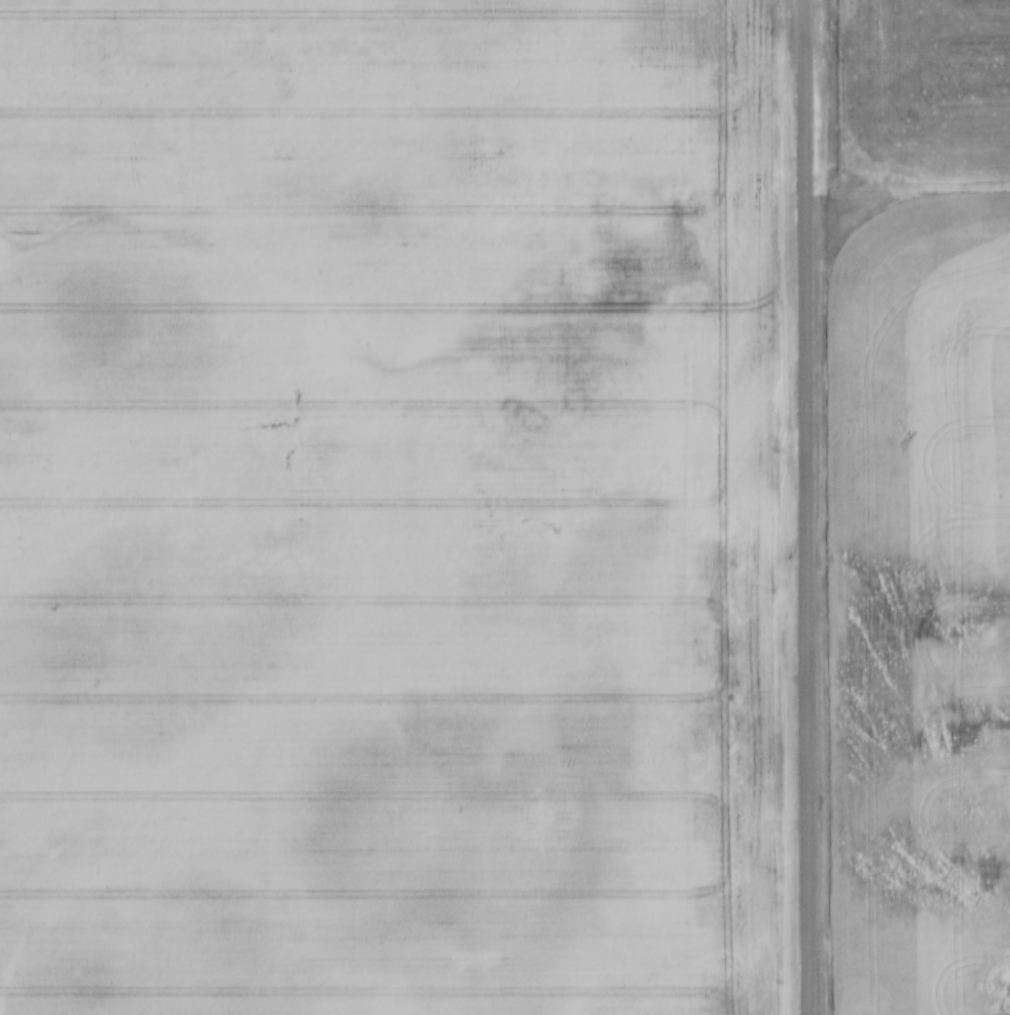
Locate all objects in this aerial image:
road: (812, 507)

